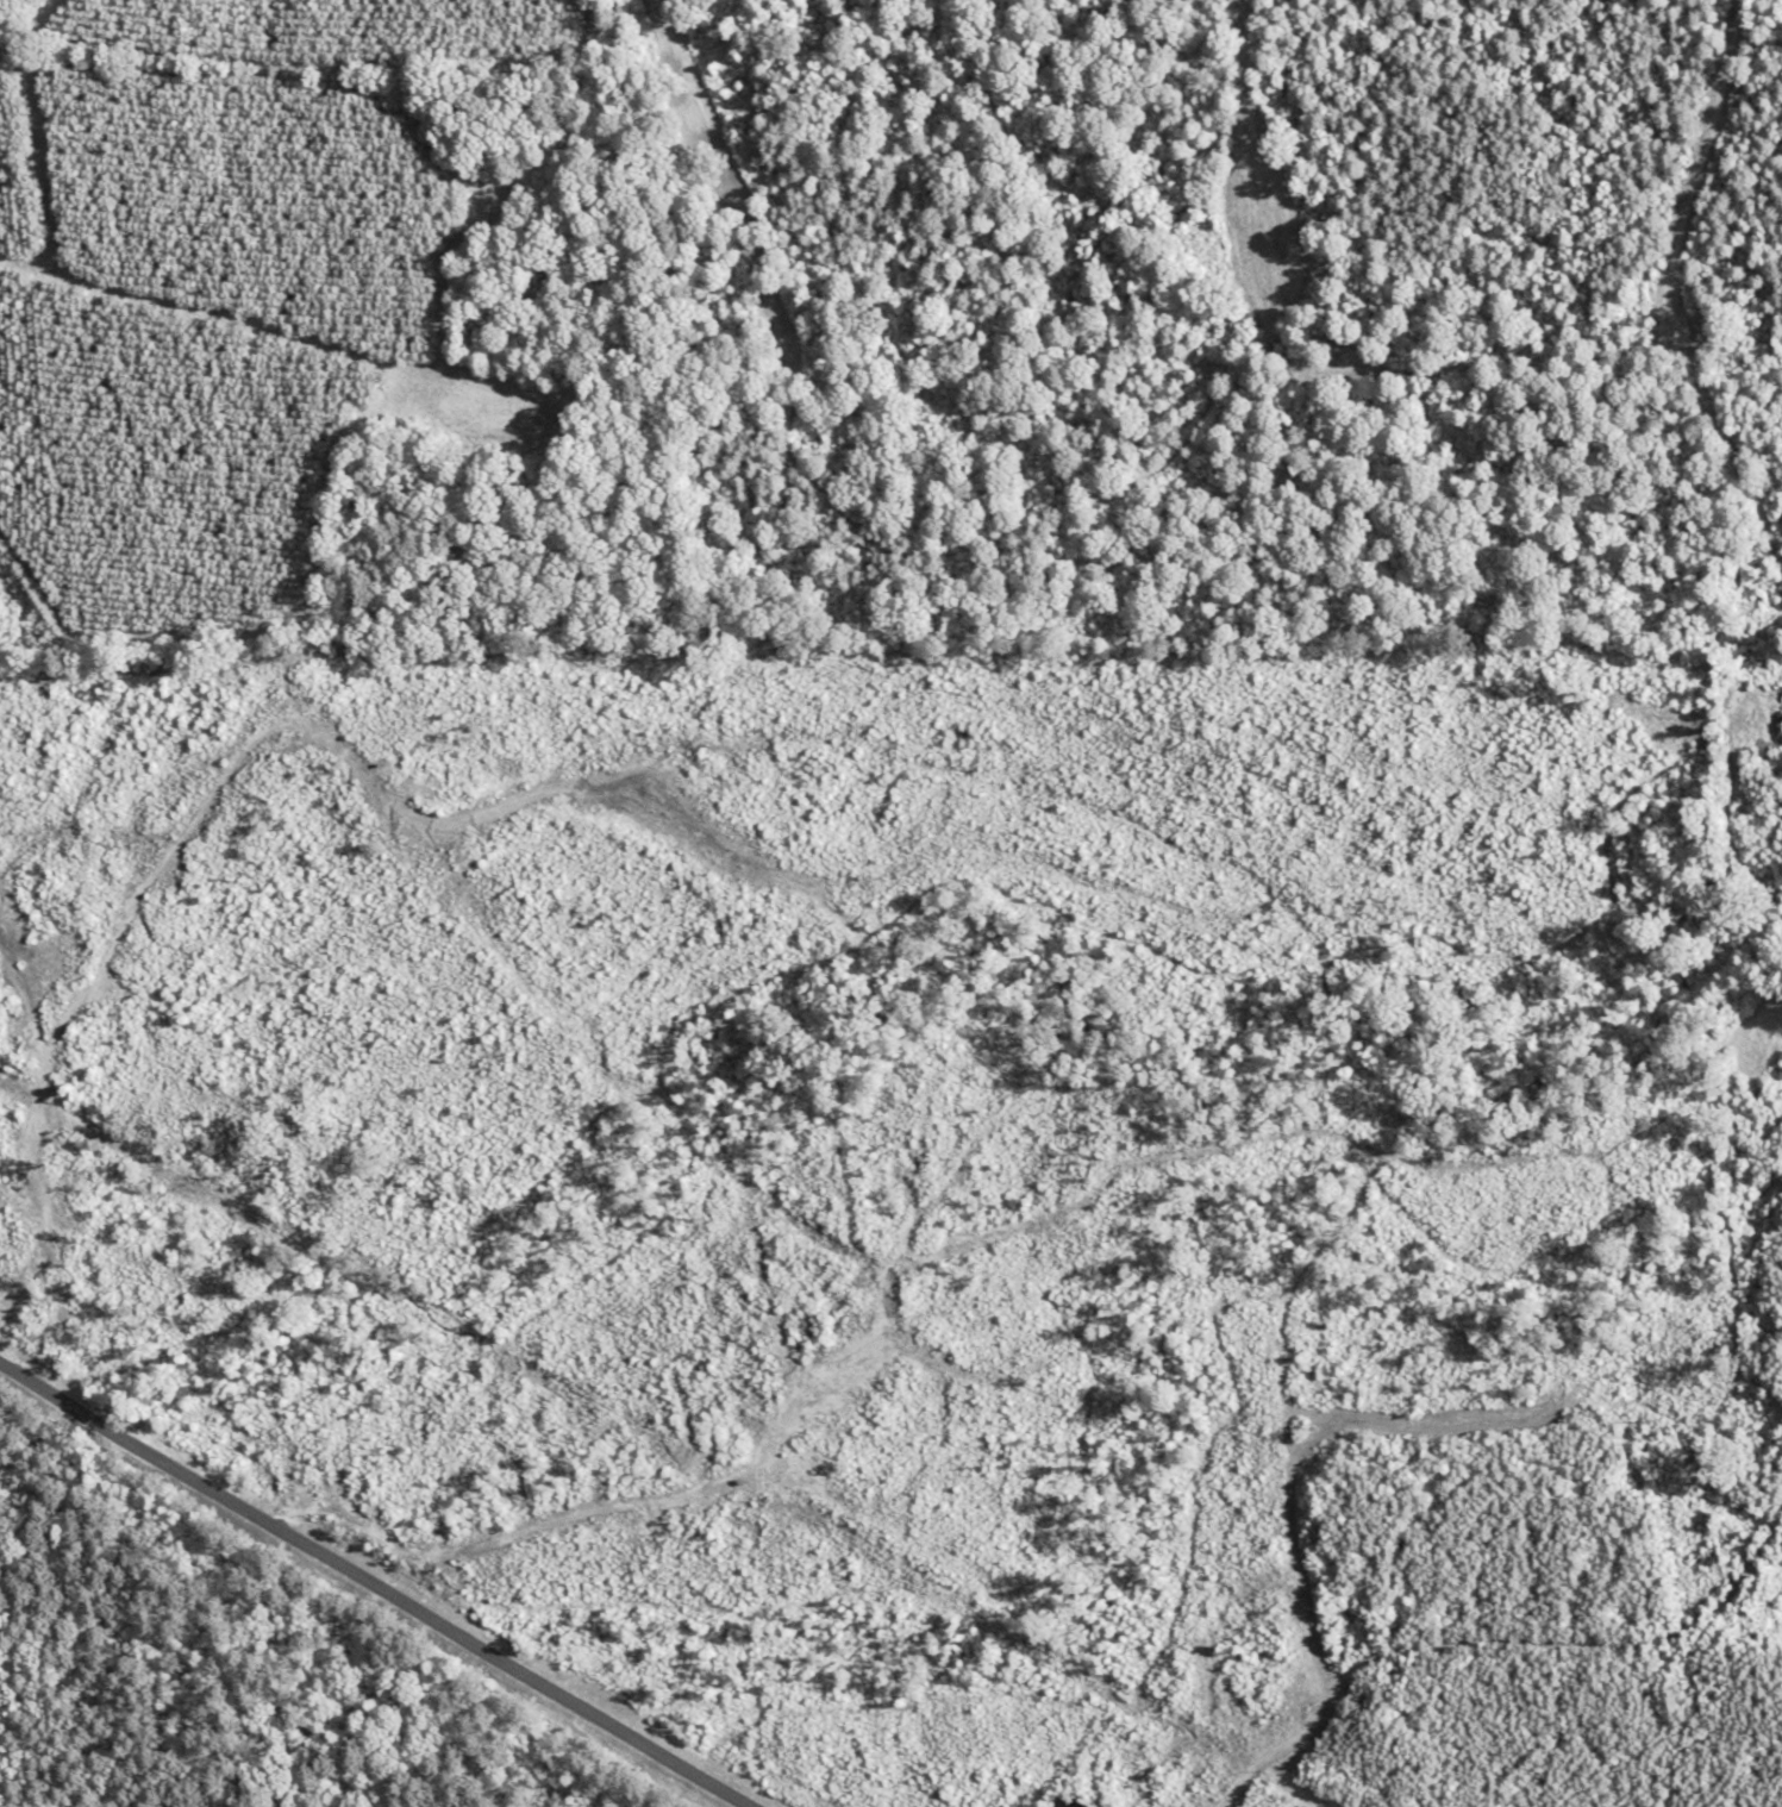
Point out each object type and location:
road: (373, 1586)

